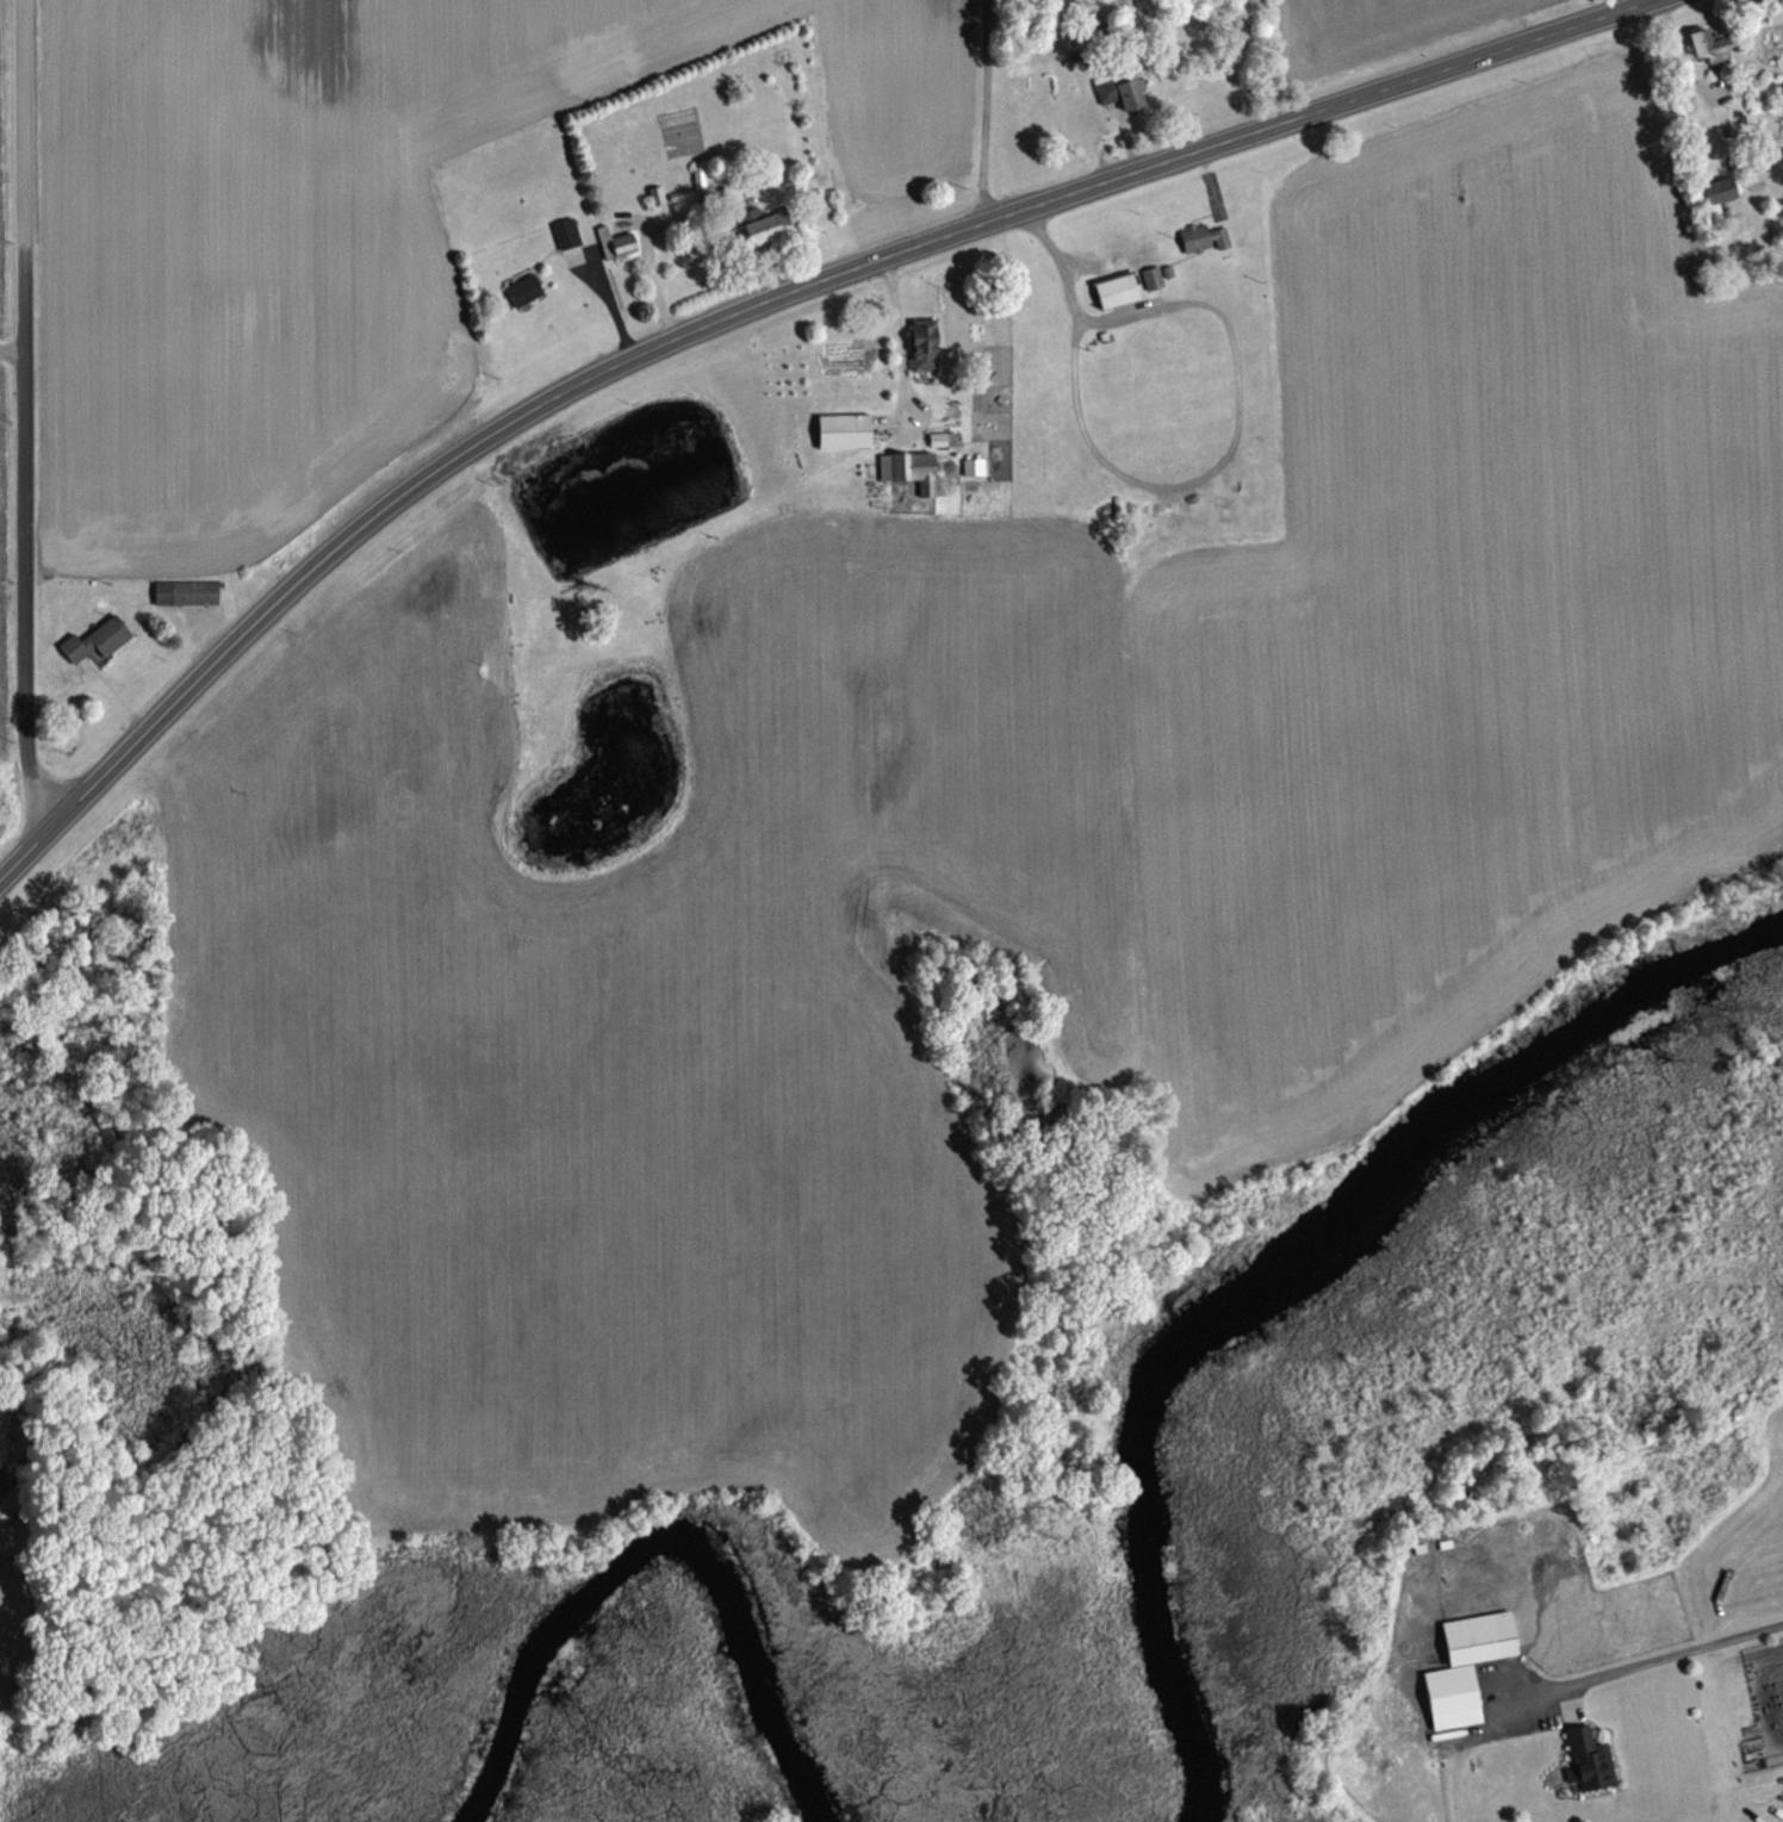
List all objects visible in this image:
building: (1711, 46)
building: (1122, 93)
road: (986, 111)
building: (1722, 191)
building: (769, 226)
building: (567, 234)
building: (1204, 238)
building: (617, 243)
building: (1154, 278)
building: (526, 290)
building: (1118, 290)
road: (751, 306)
building: (926, 346)
road: (11, 349)
road: (23, 415)
building: (846, 431)
building: (911, 471)
road: (1179, 483)
building: (187, 593)
building: (98, 641)
river: (1274, 1271)
building: (1, 1473)
river: (660, 1544)
building: (1481, 1637)
building: (1592, 1759)

